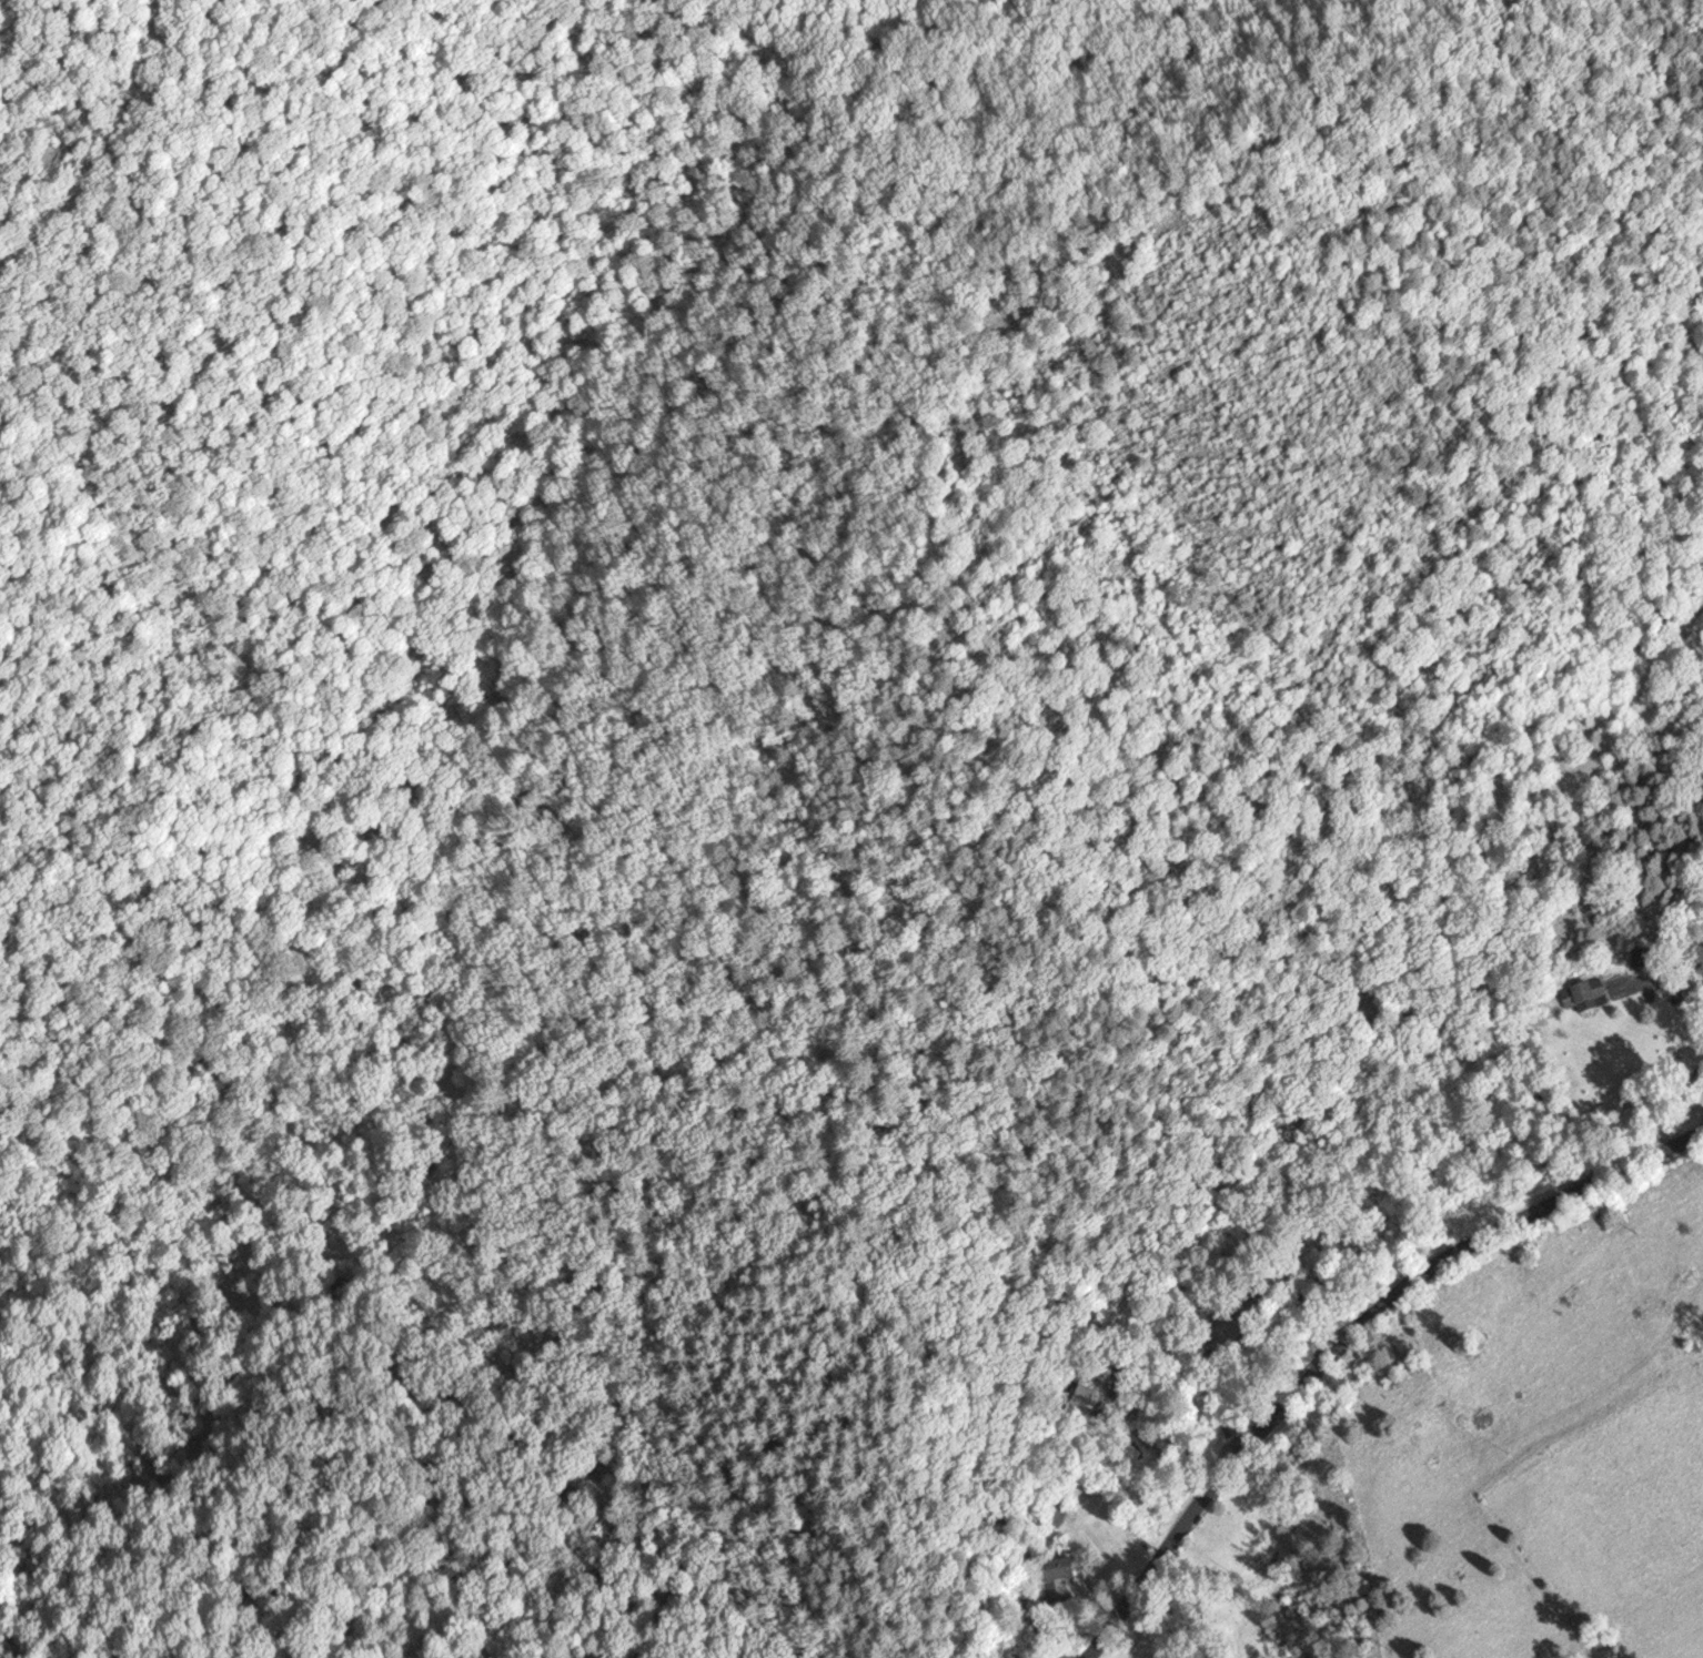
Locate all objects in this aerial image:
building: (1584, 993)
road: (1342, 1333)
building: (1058, 1514)
building: (1057, 1576)

